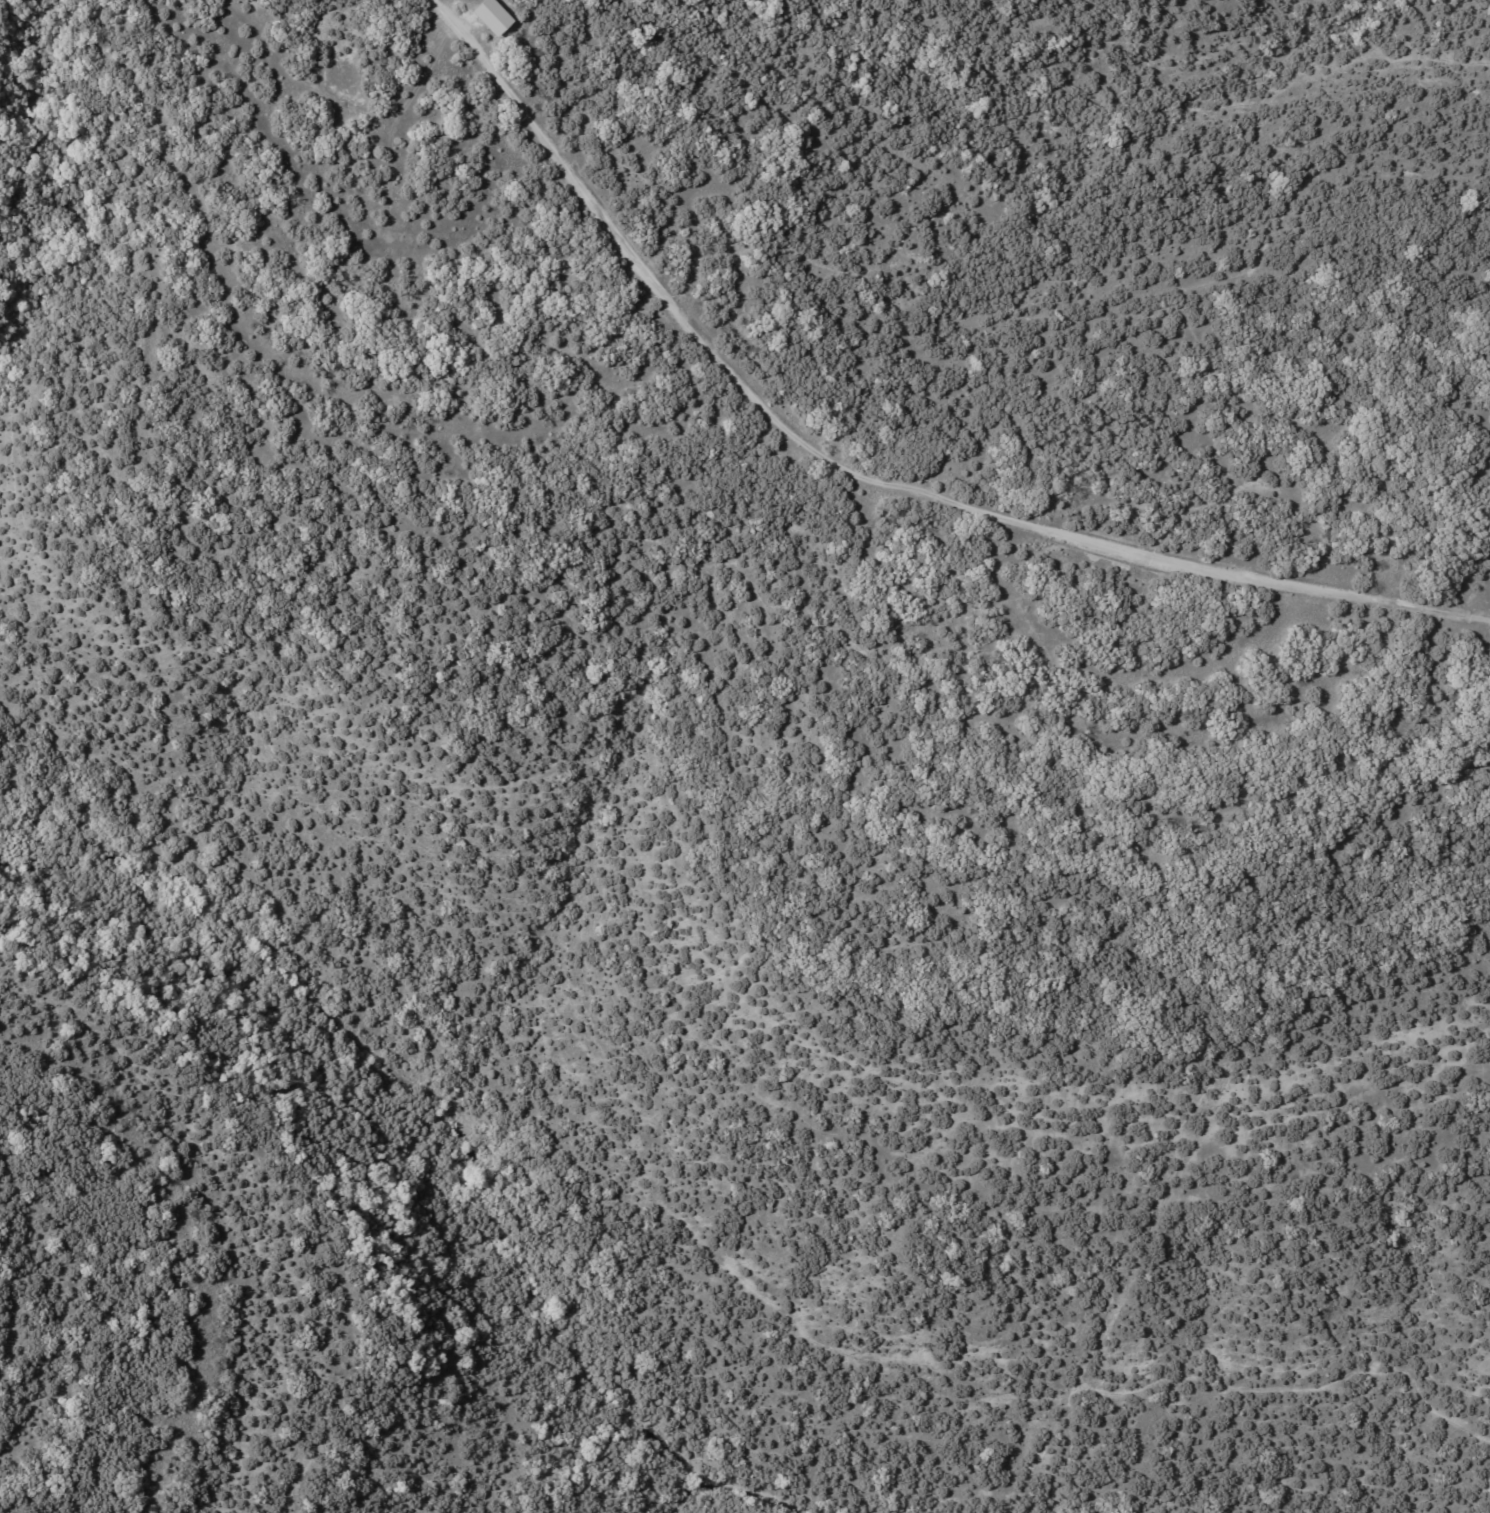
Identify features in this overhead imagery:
road: (857, 482)
building: (1373, 1349)

